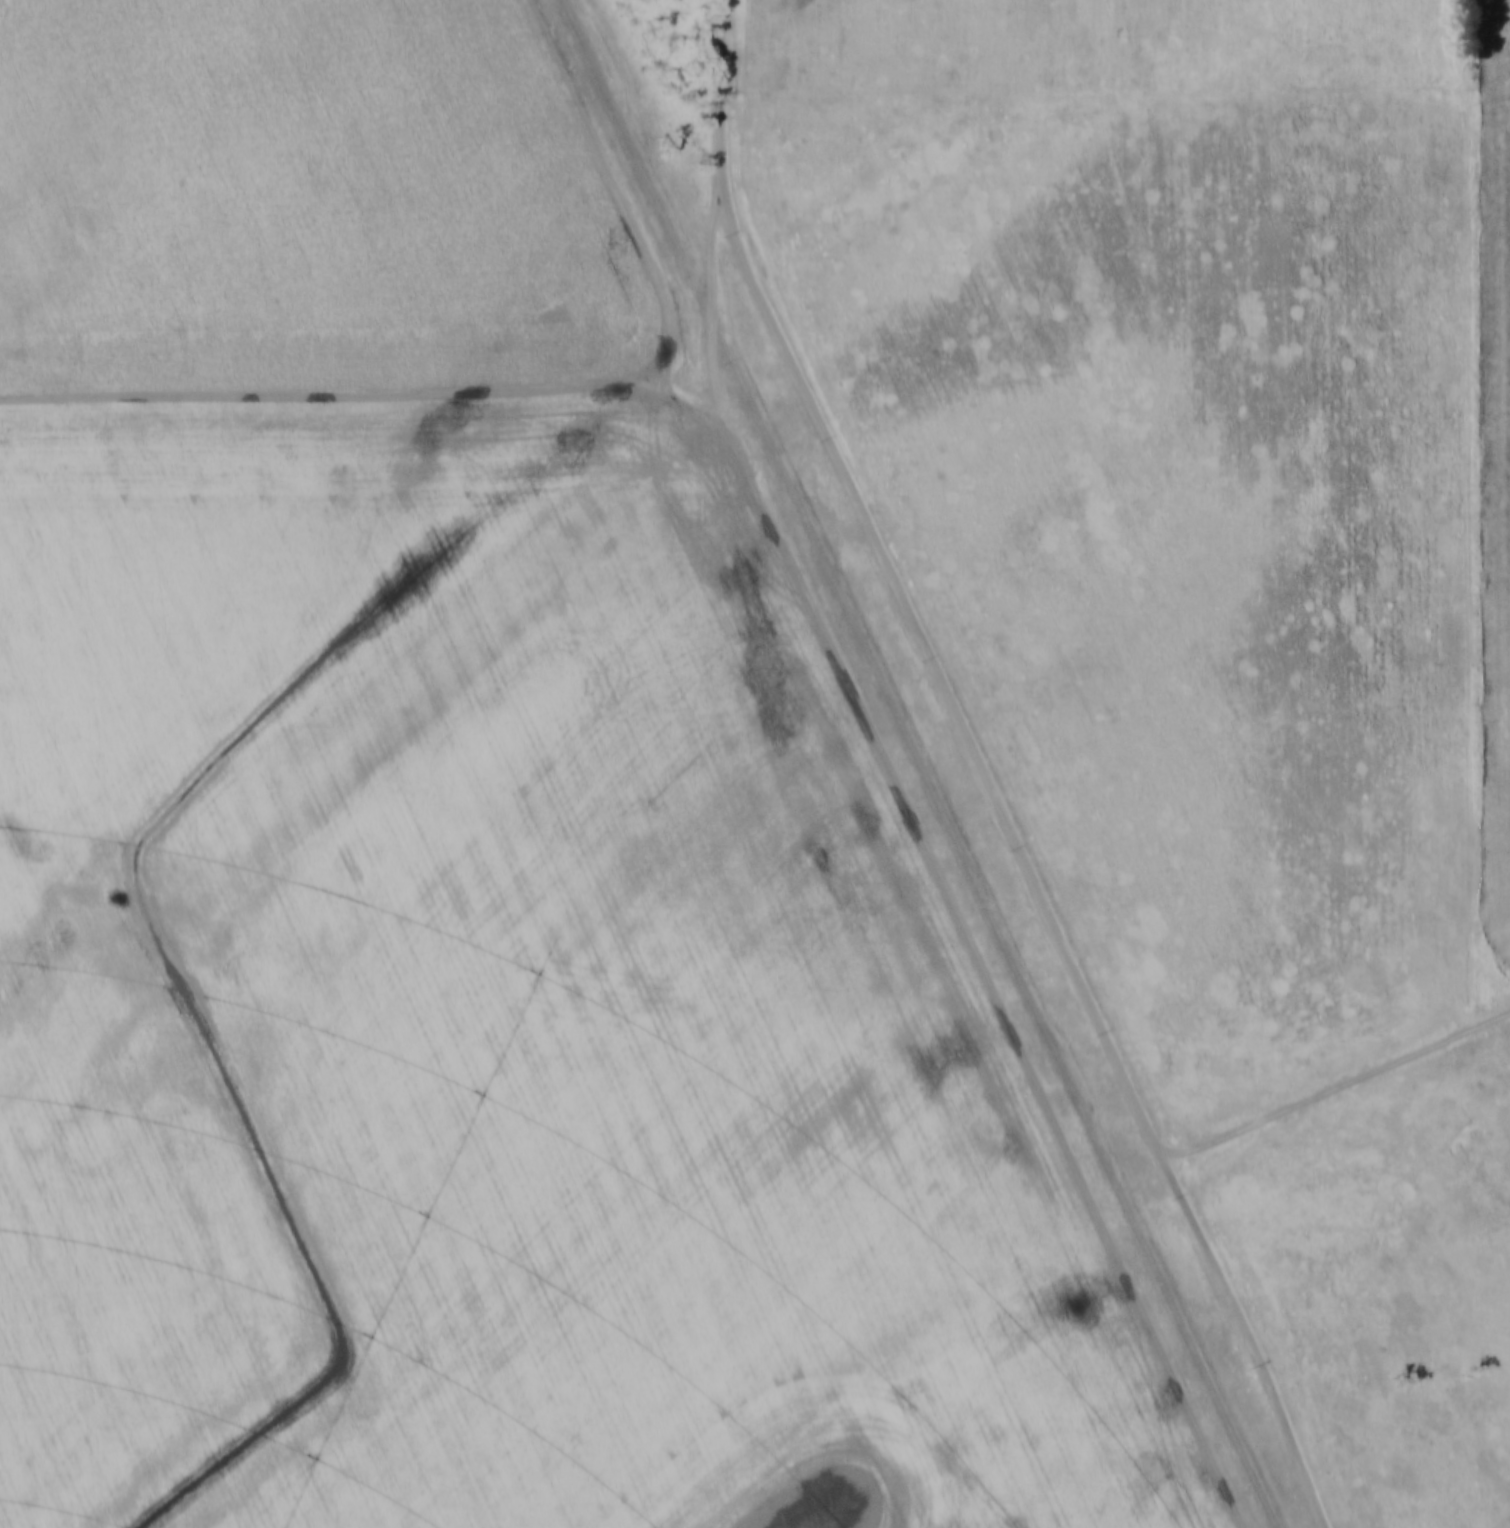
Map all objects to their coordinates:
road: (984, 771)
road: (1334, 1090)

